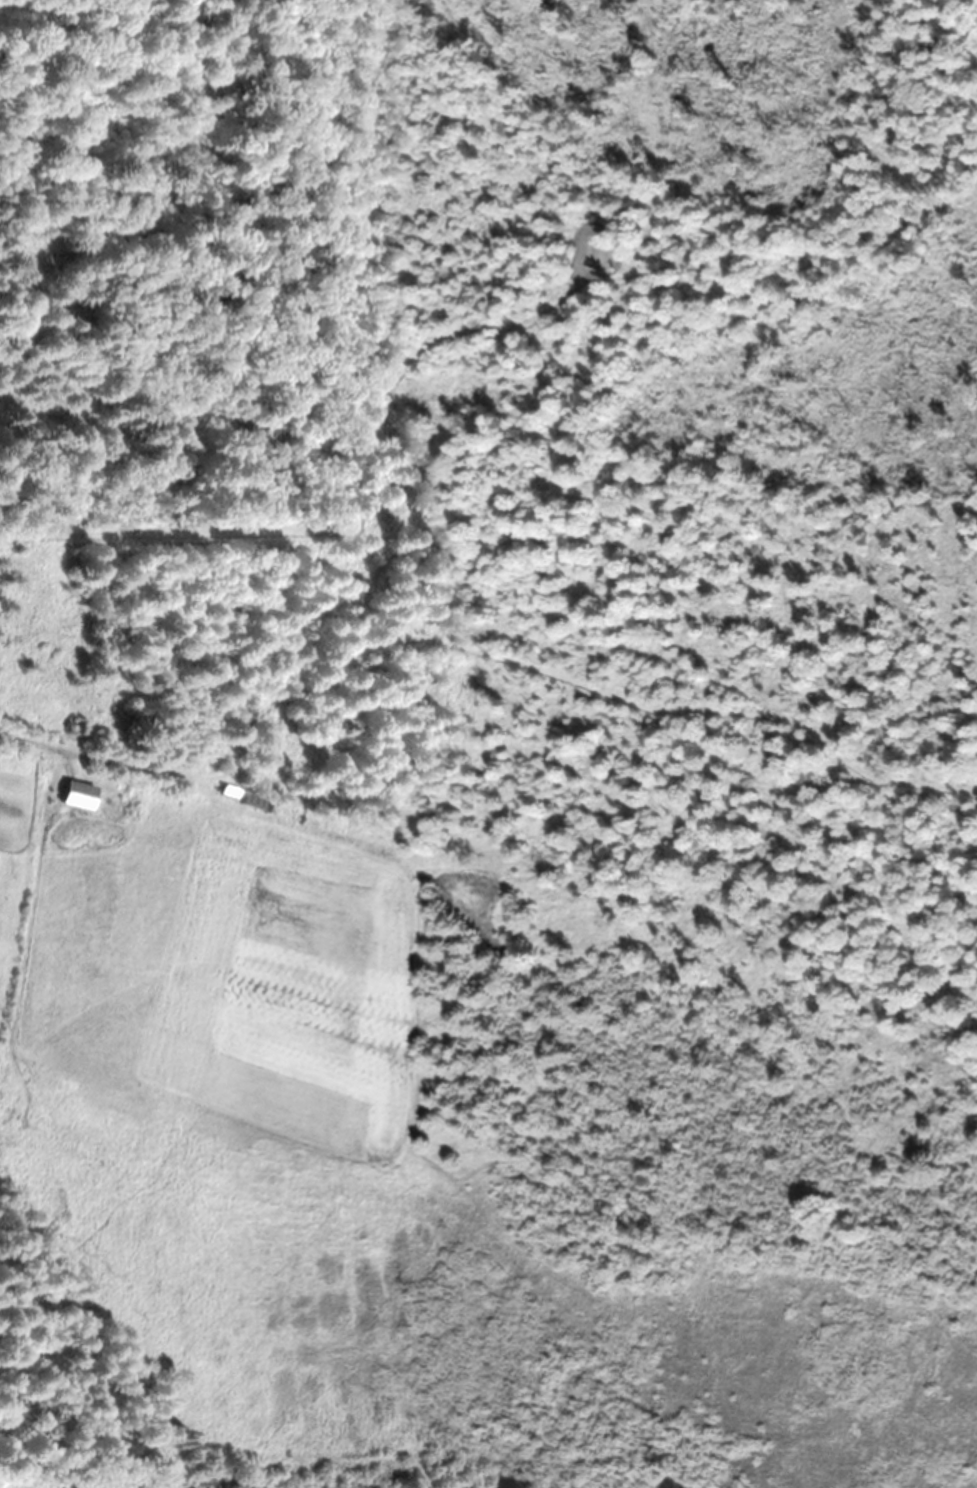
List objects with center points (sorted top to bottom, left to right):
building: (72, 794)

